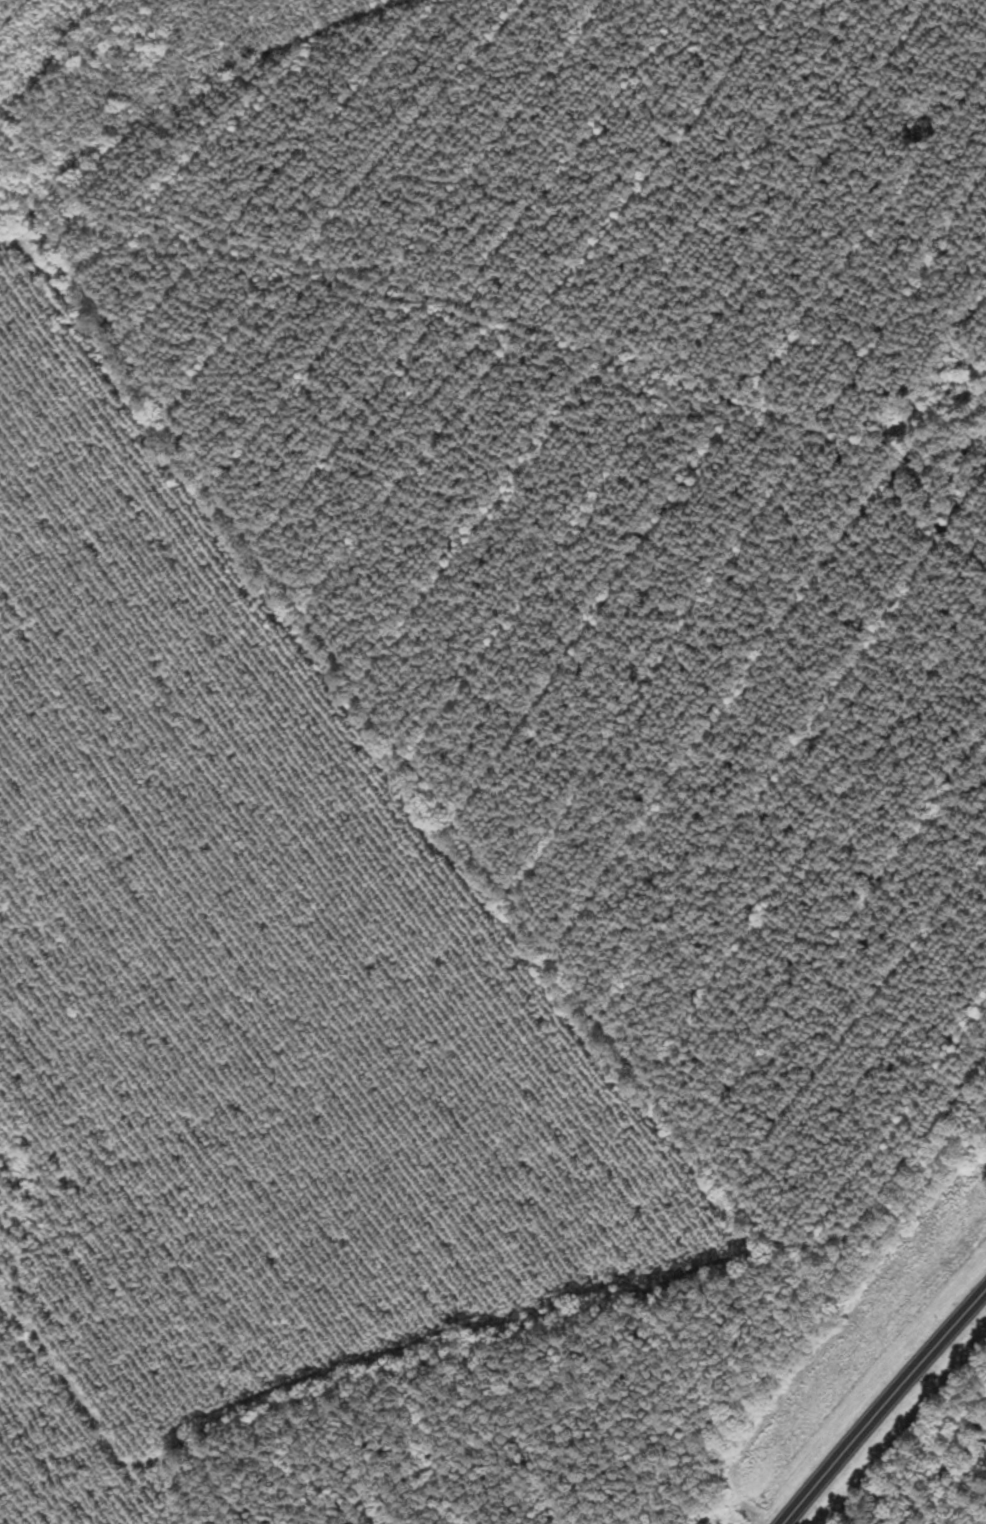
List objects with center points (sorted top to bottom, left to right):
road: (877, 1405)

